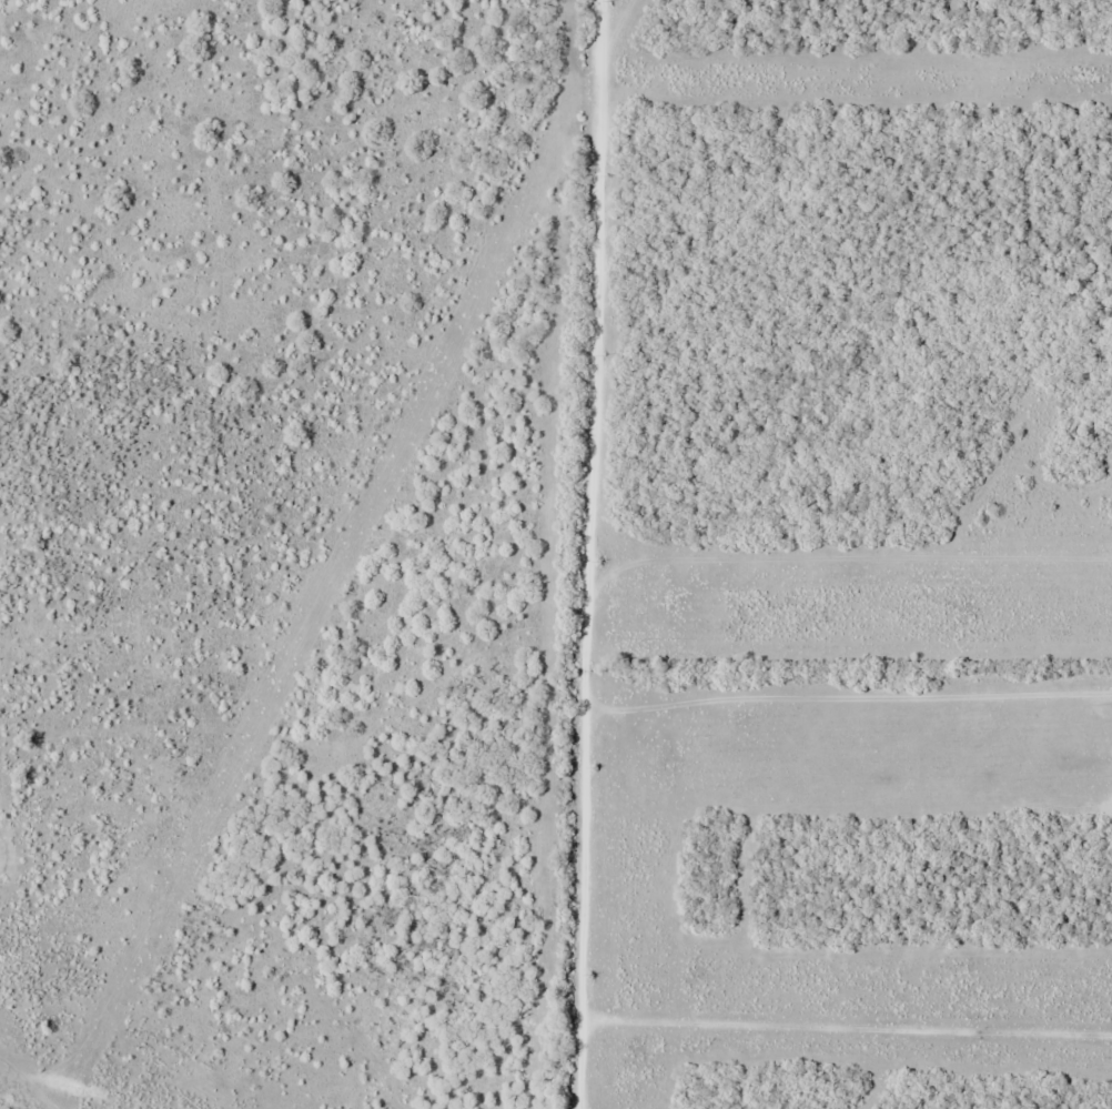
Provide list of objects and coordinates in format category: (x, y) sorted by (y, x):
road: (586, 554)

